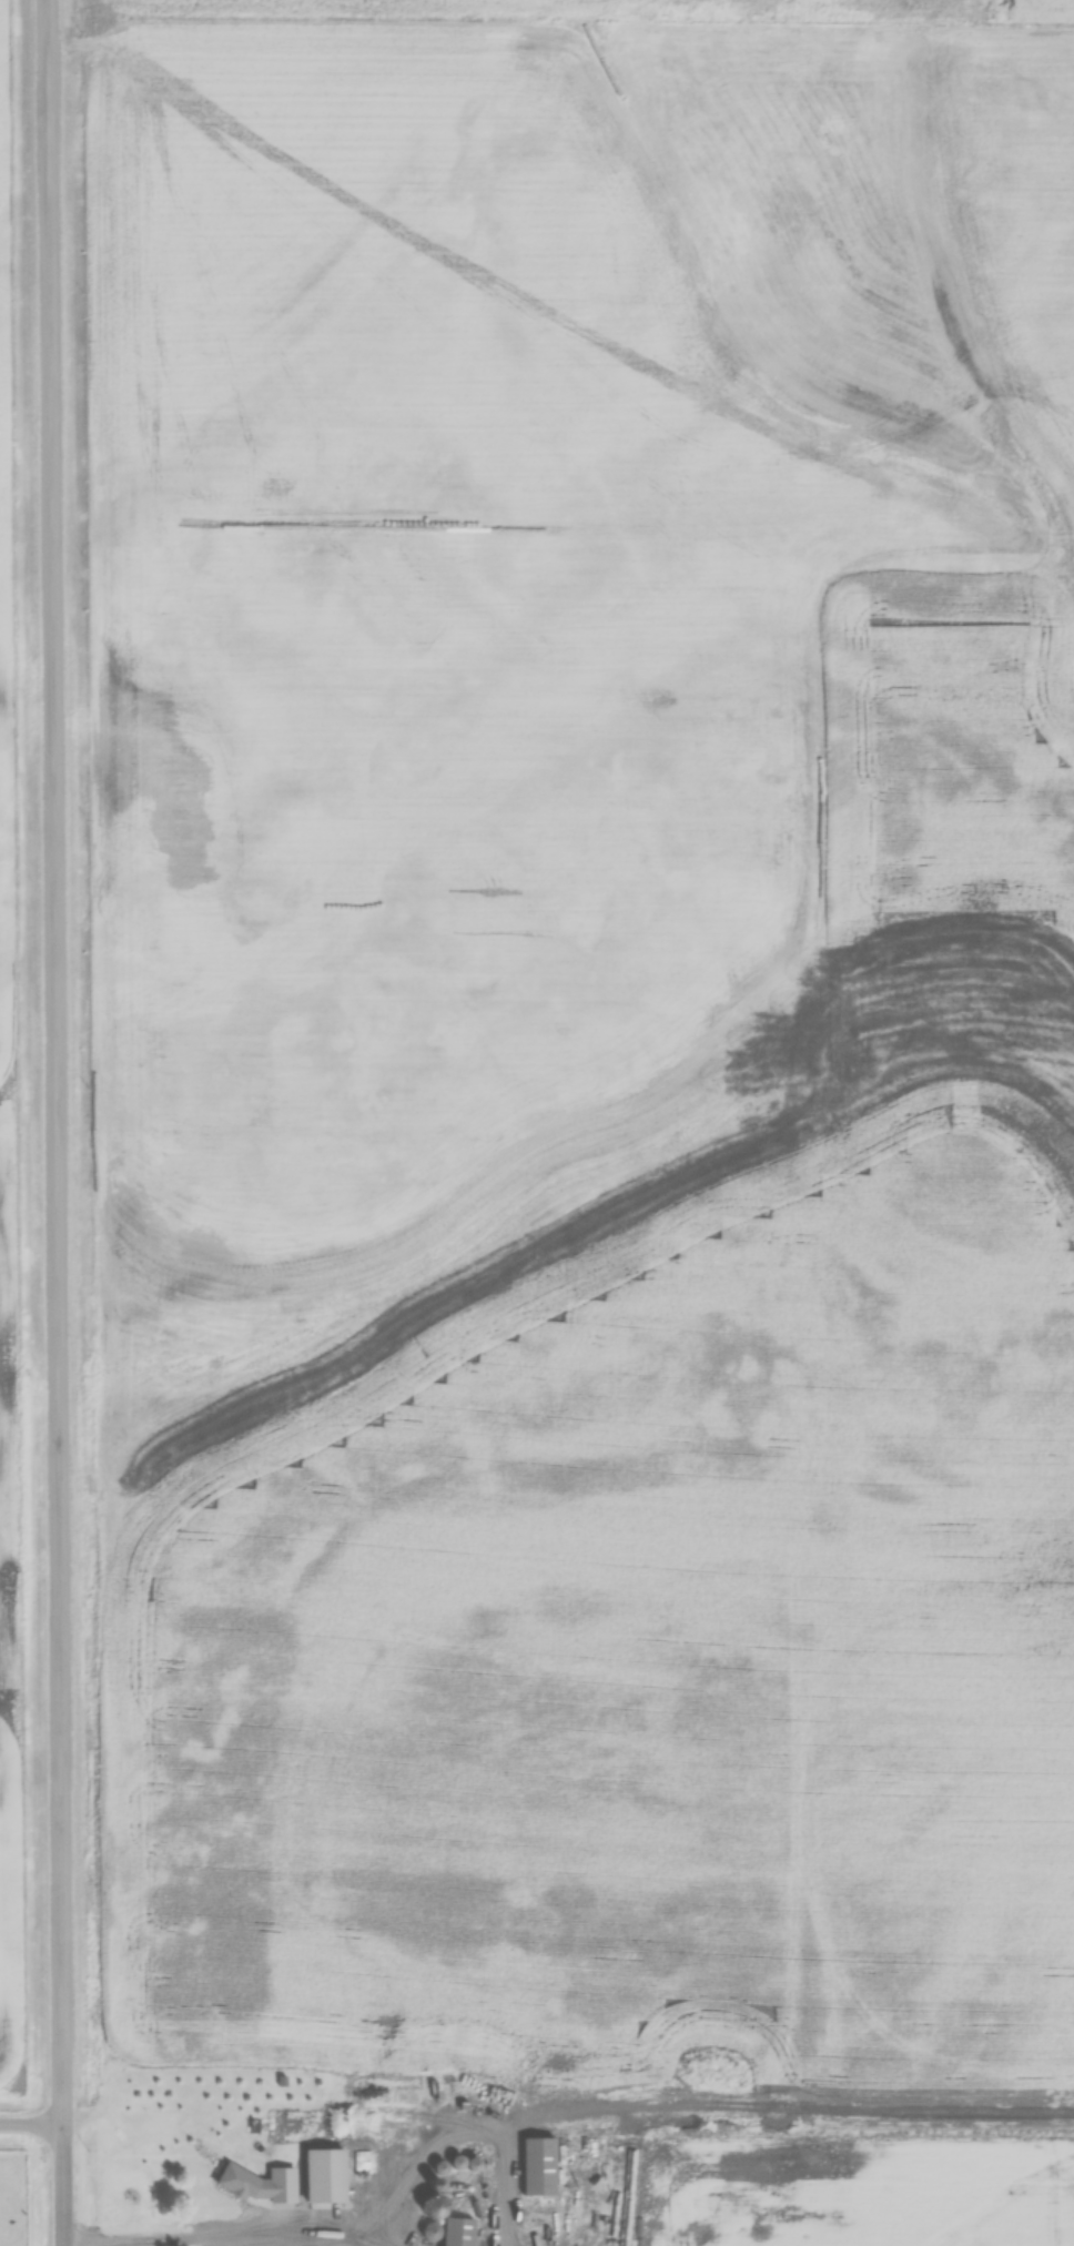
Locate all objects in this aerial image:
road: (60, 1122)
road: (32, 2115)
building: (361, 2132)
building: (537, 2167)
building: (281, 2186)
building: (321, 2193)
building: (456, 2232)
road: (215, 2236)

